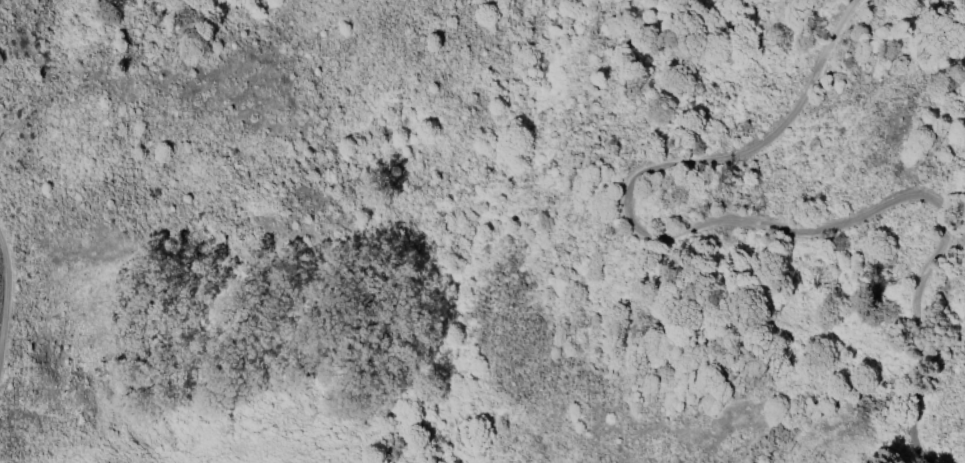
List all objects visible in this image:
road: (749, 220)
road: (5, 299)

